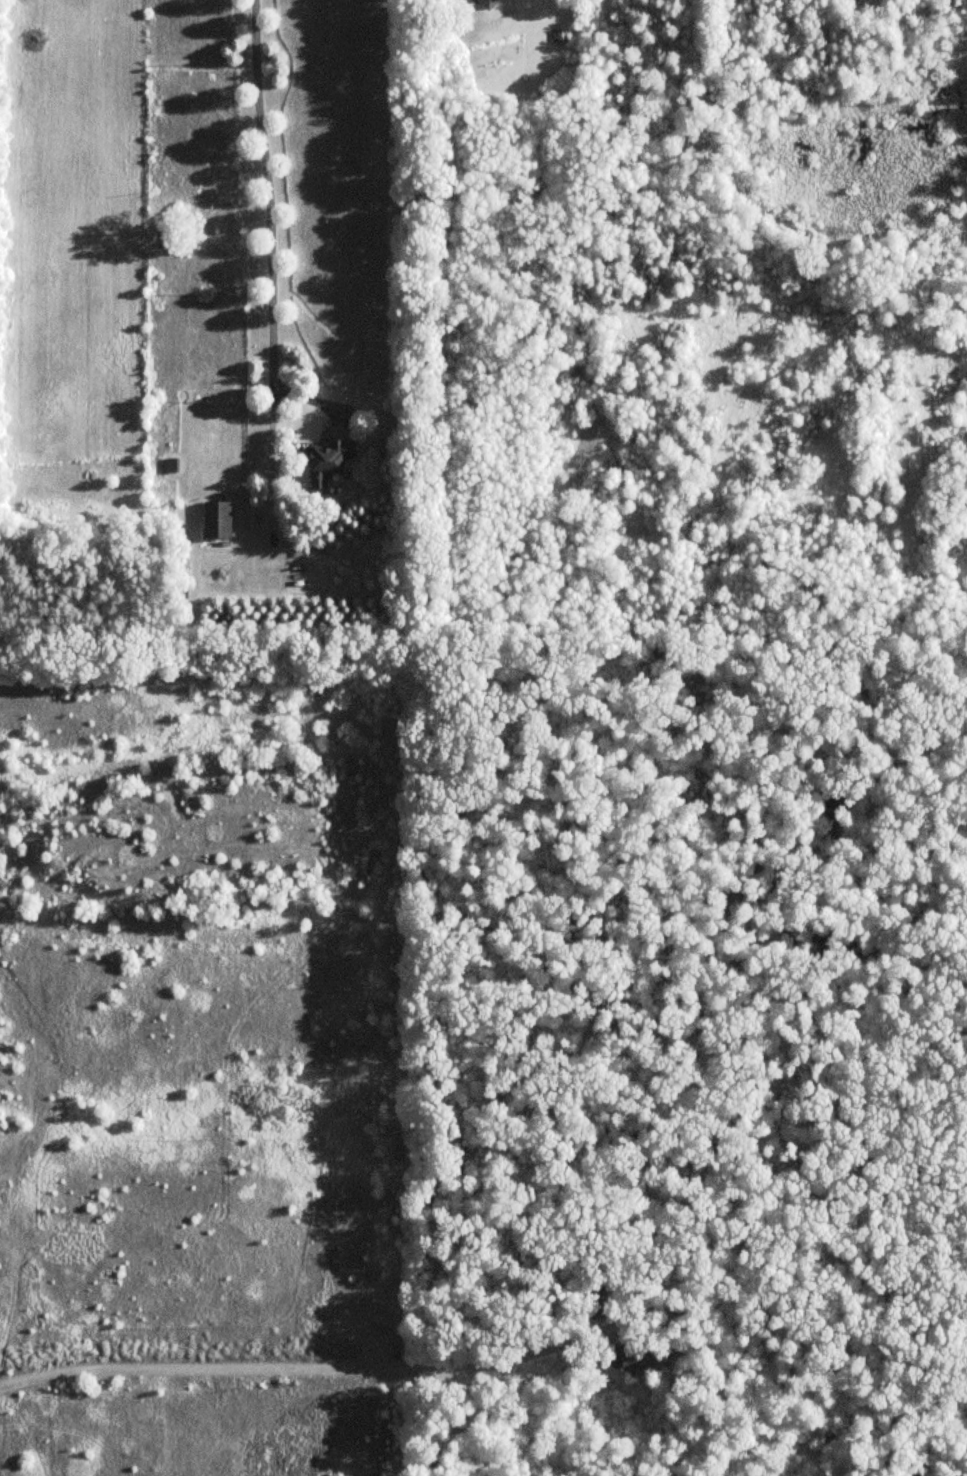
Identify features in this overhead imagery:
building: (488, 3)
road: (271, 227)
road: (268, 450)
building: (328, 461)
building: (217, 521)
building: (594, 1303)
building: (628, 1357)
road: (301, 1367)

